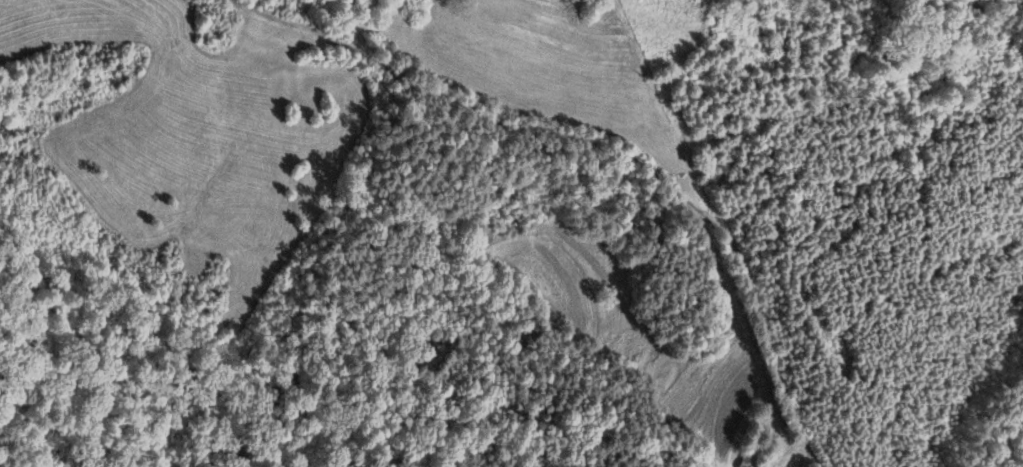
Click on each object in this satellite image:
road: (602, 147)
road: (803, 457)

